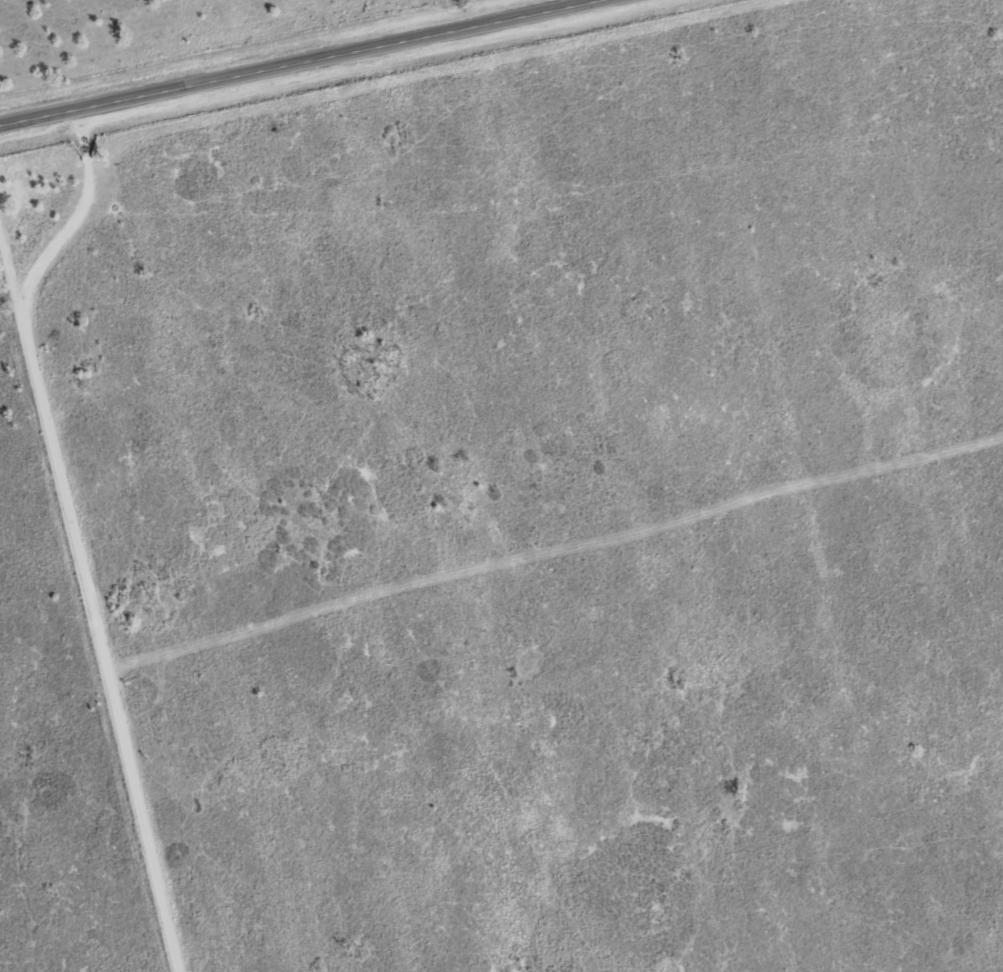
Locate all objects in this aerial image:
road: (330, 71)
road: (124, 550)

